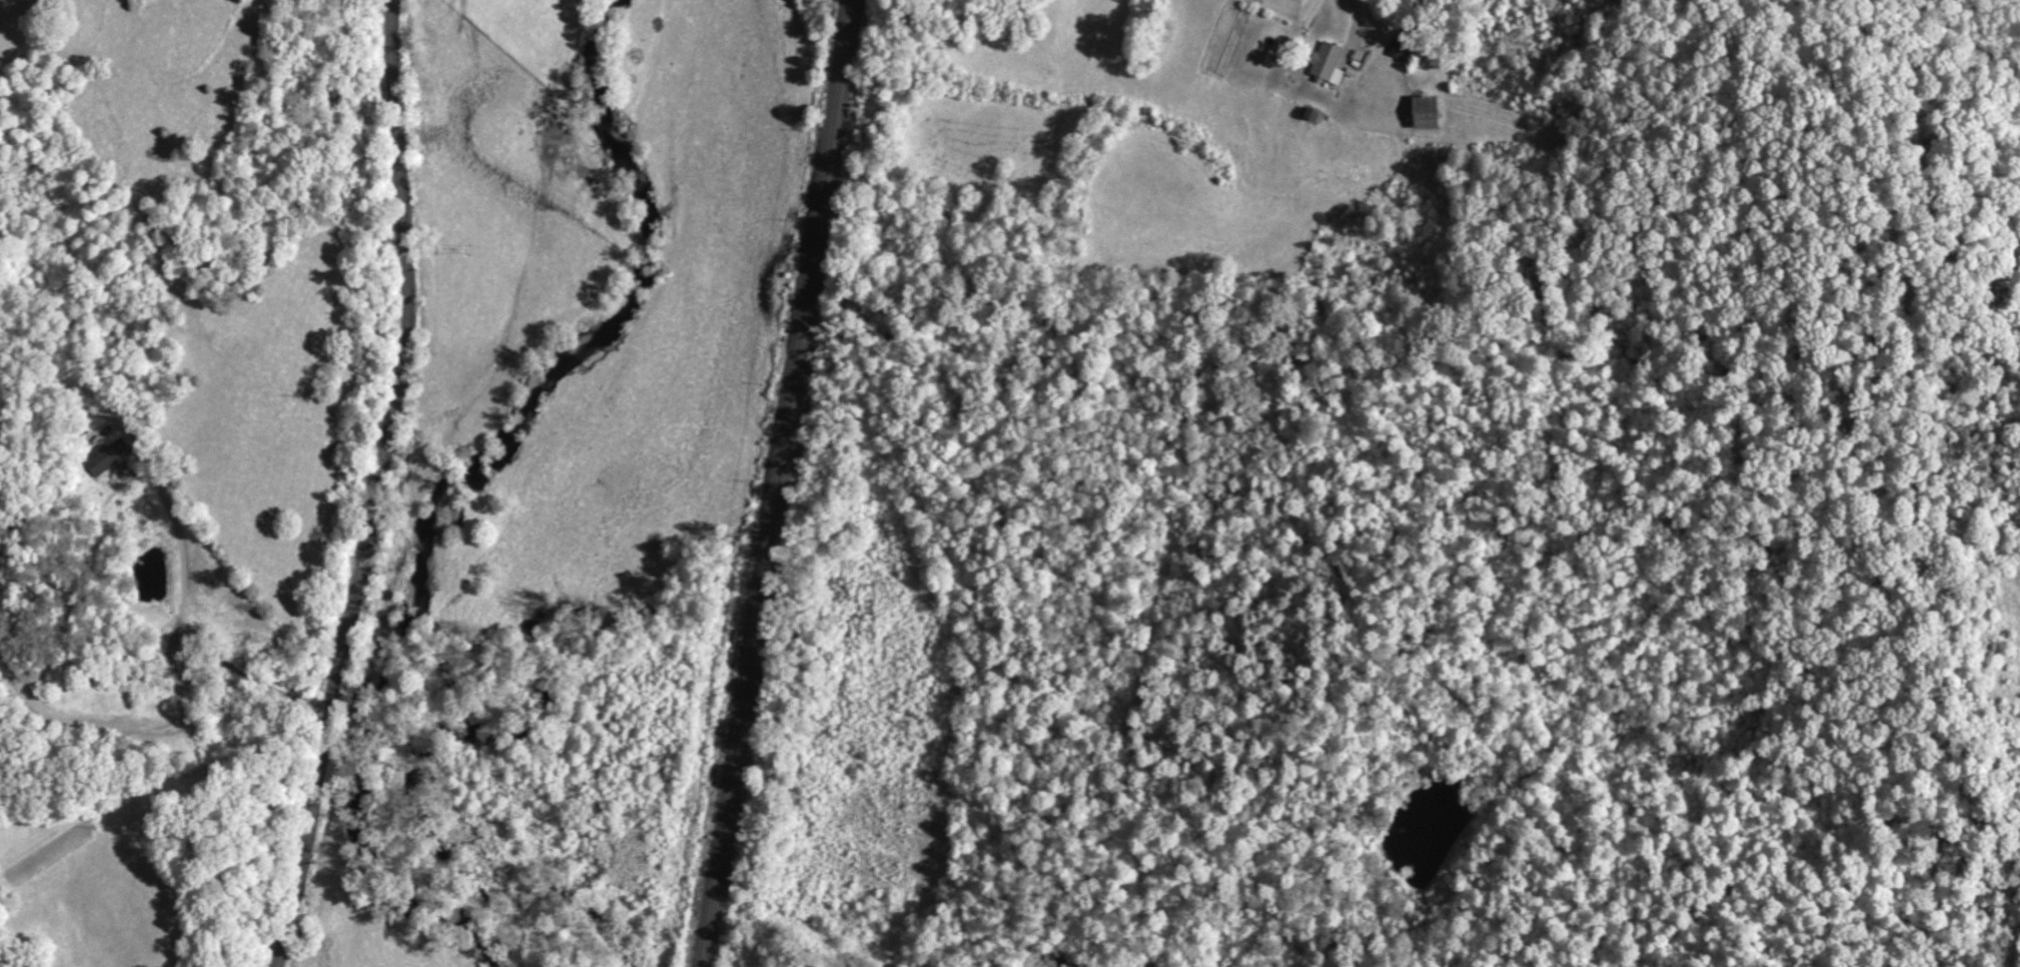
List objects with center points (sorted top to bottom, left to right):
building: (1402, 48)
building: (1328, 65)
building: (1424, 113)
building: (108, 457)
railway: (776, 483)
road: (378, 486)

